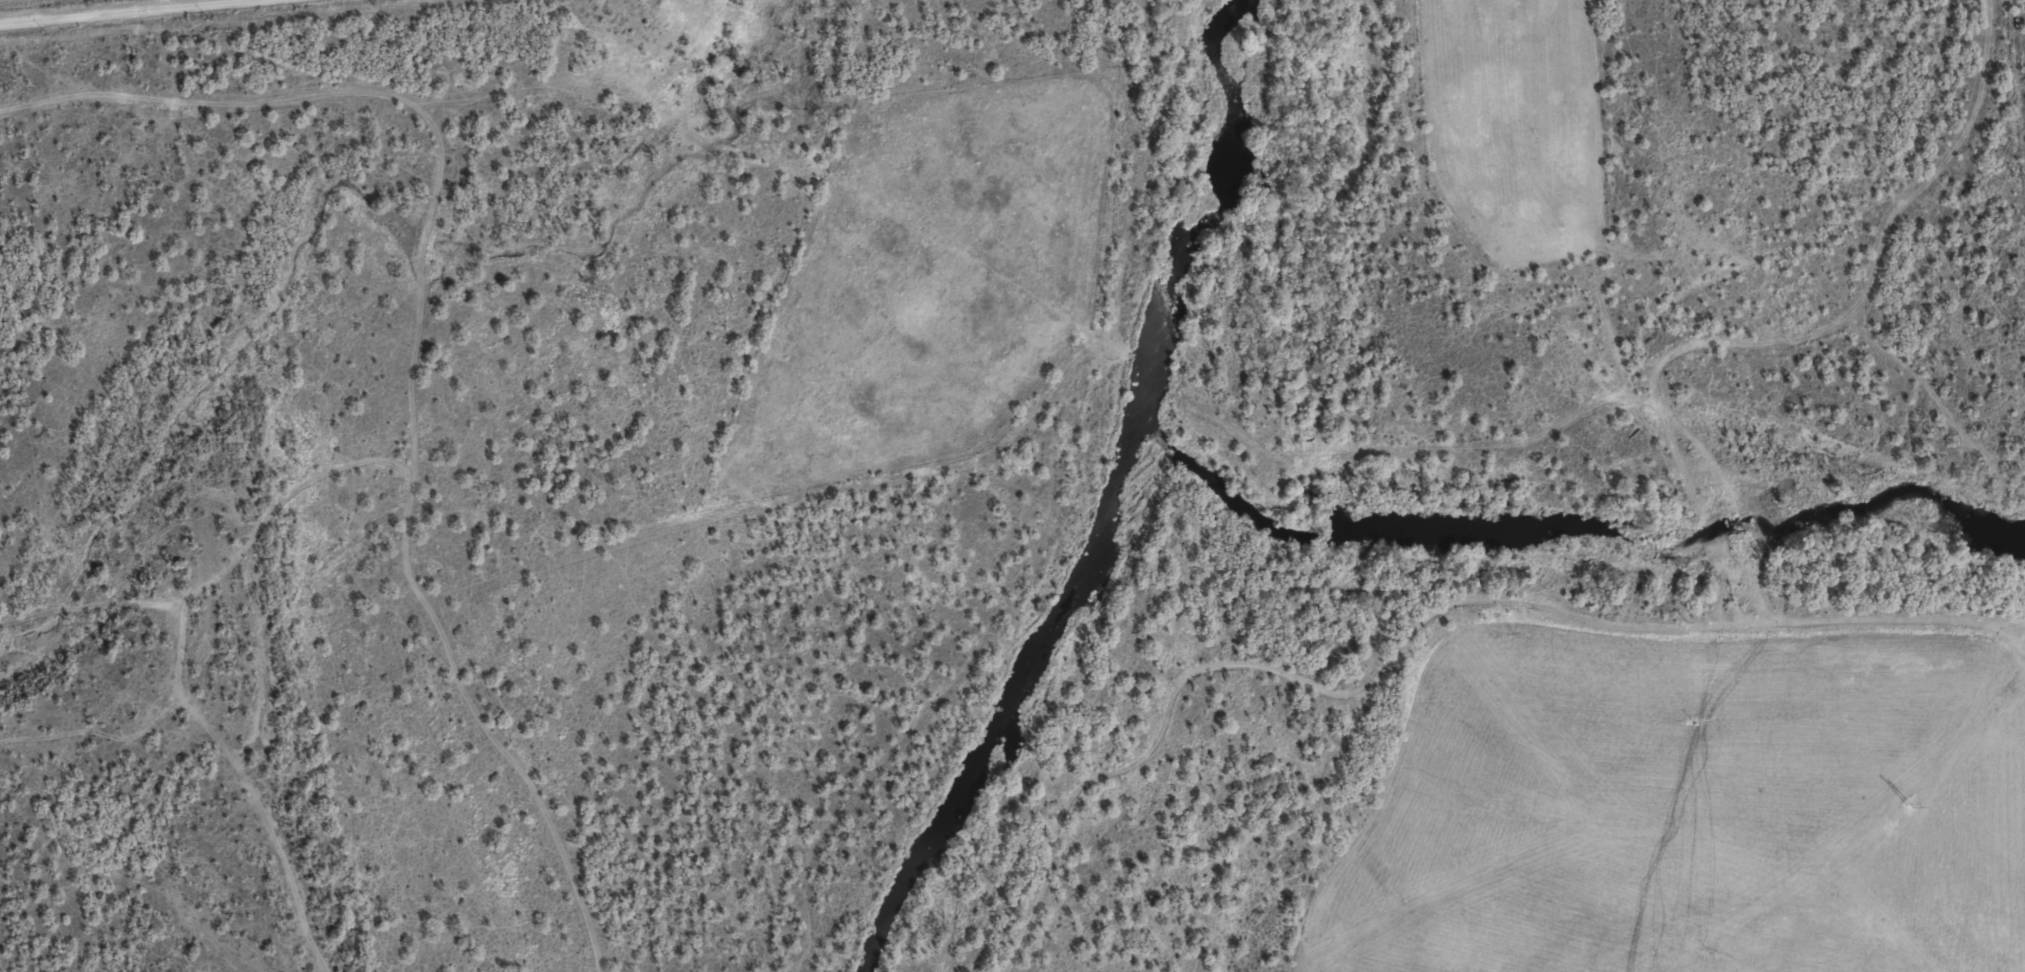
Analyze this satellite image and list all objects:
road: (63, 7)
road: (412, 357)
road: (1716, 557)
power tower: (1908, 805)

